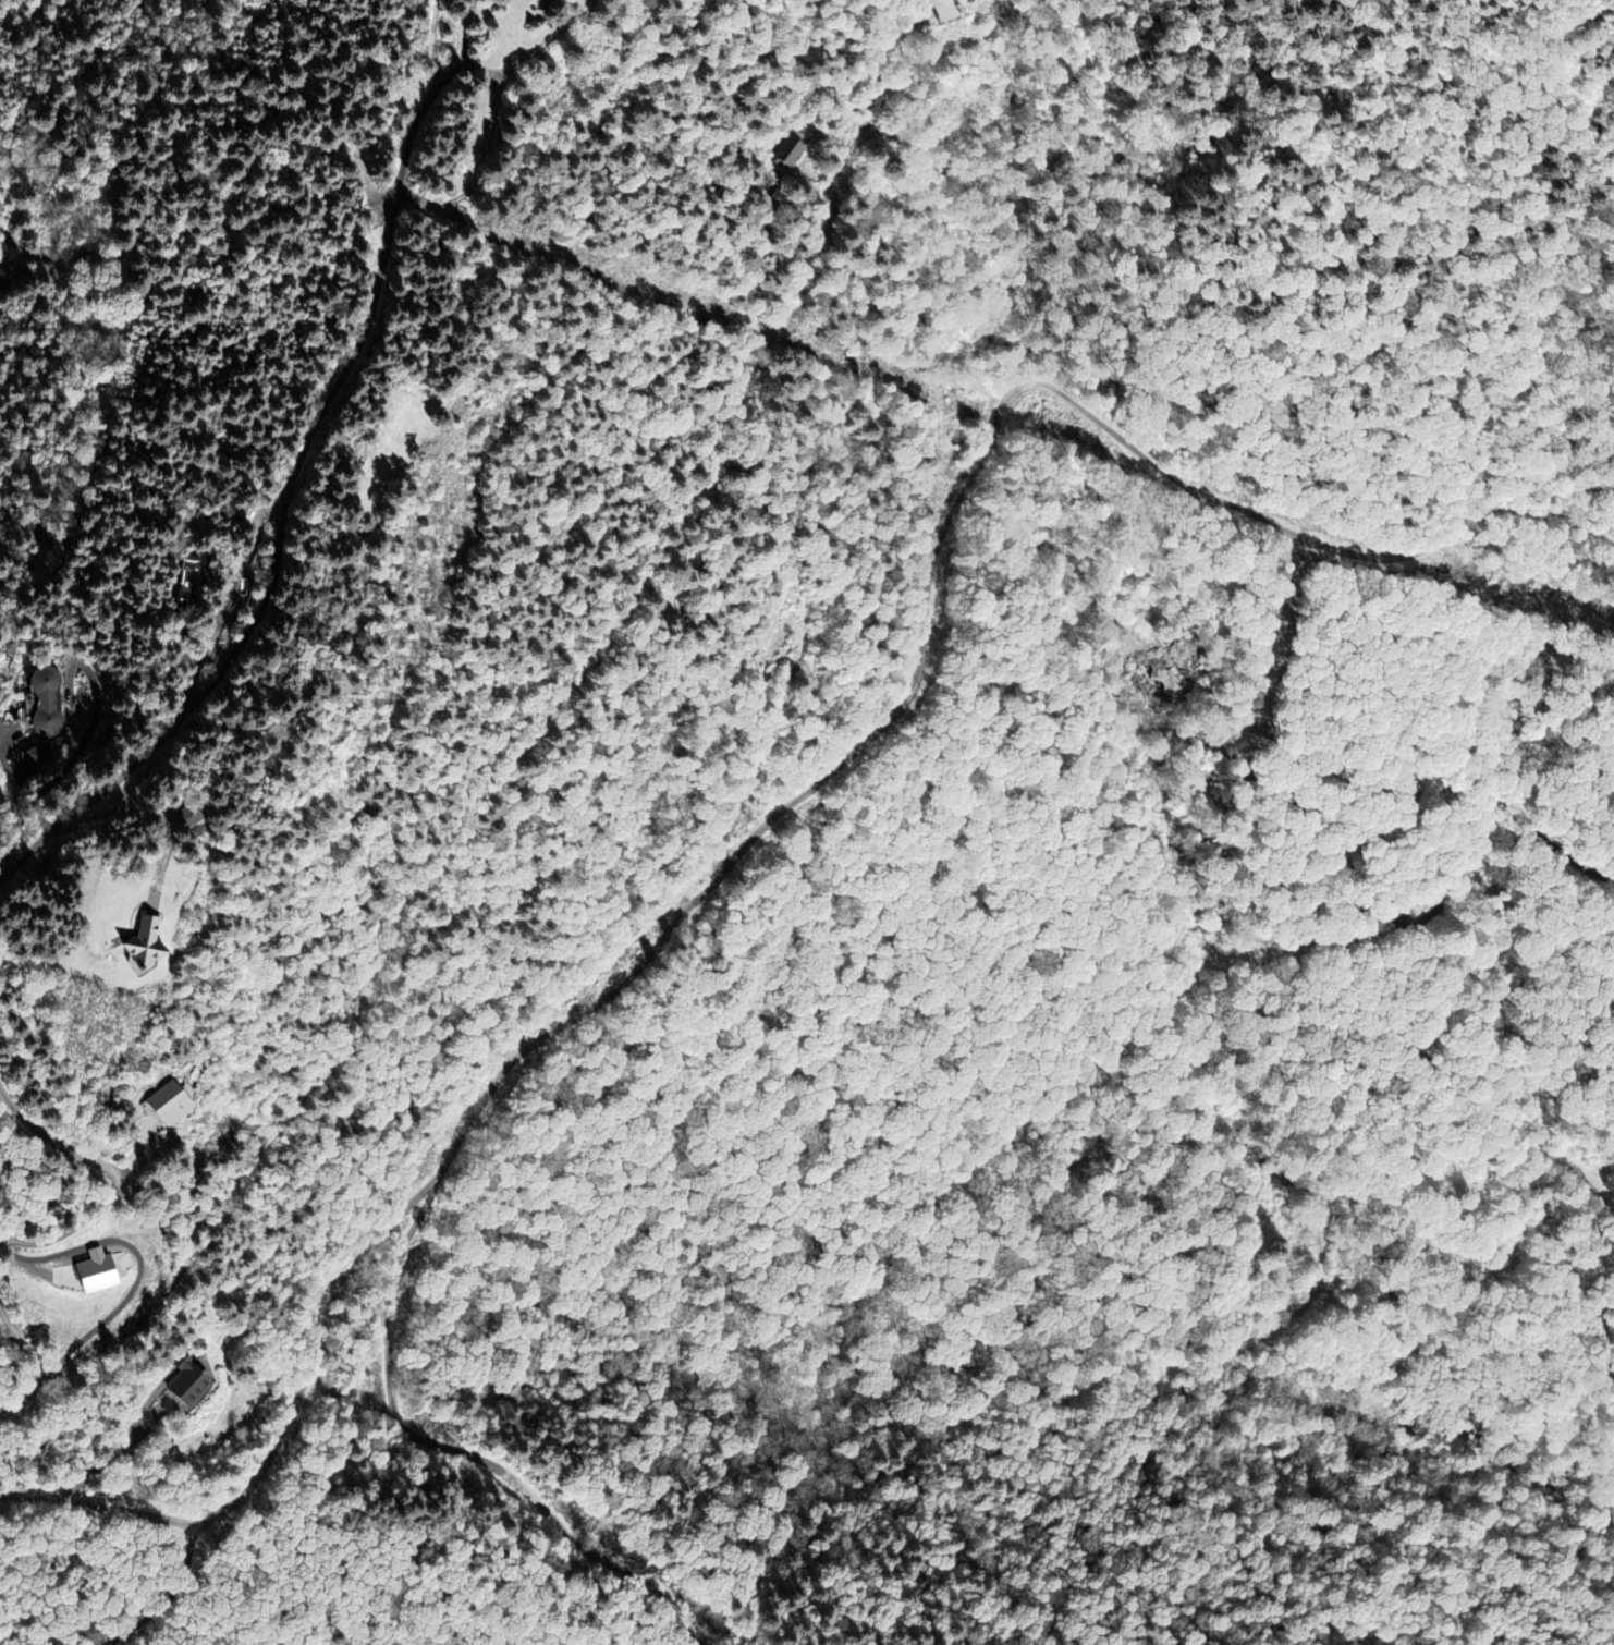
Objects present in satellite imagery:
road: (436, 39)
road: (497, 78)
road: (271, 582)
building: (49, 704)
building: (39, 758)
road: (1289, 797)
road: (791, 801)
road: (1492, 818)
building: (155, 947)
building: (172, 1102)
road: (118, 1172)
building: (101, 1272)
road: (29, 1366)
building: (191, 1388)

